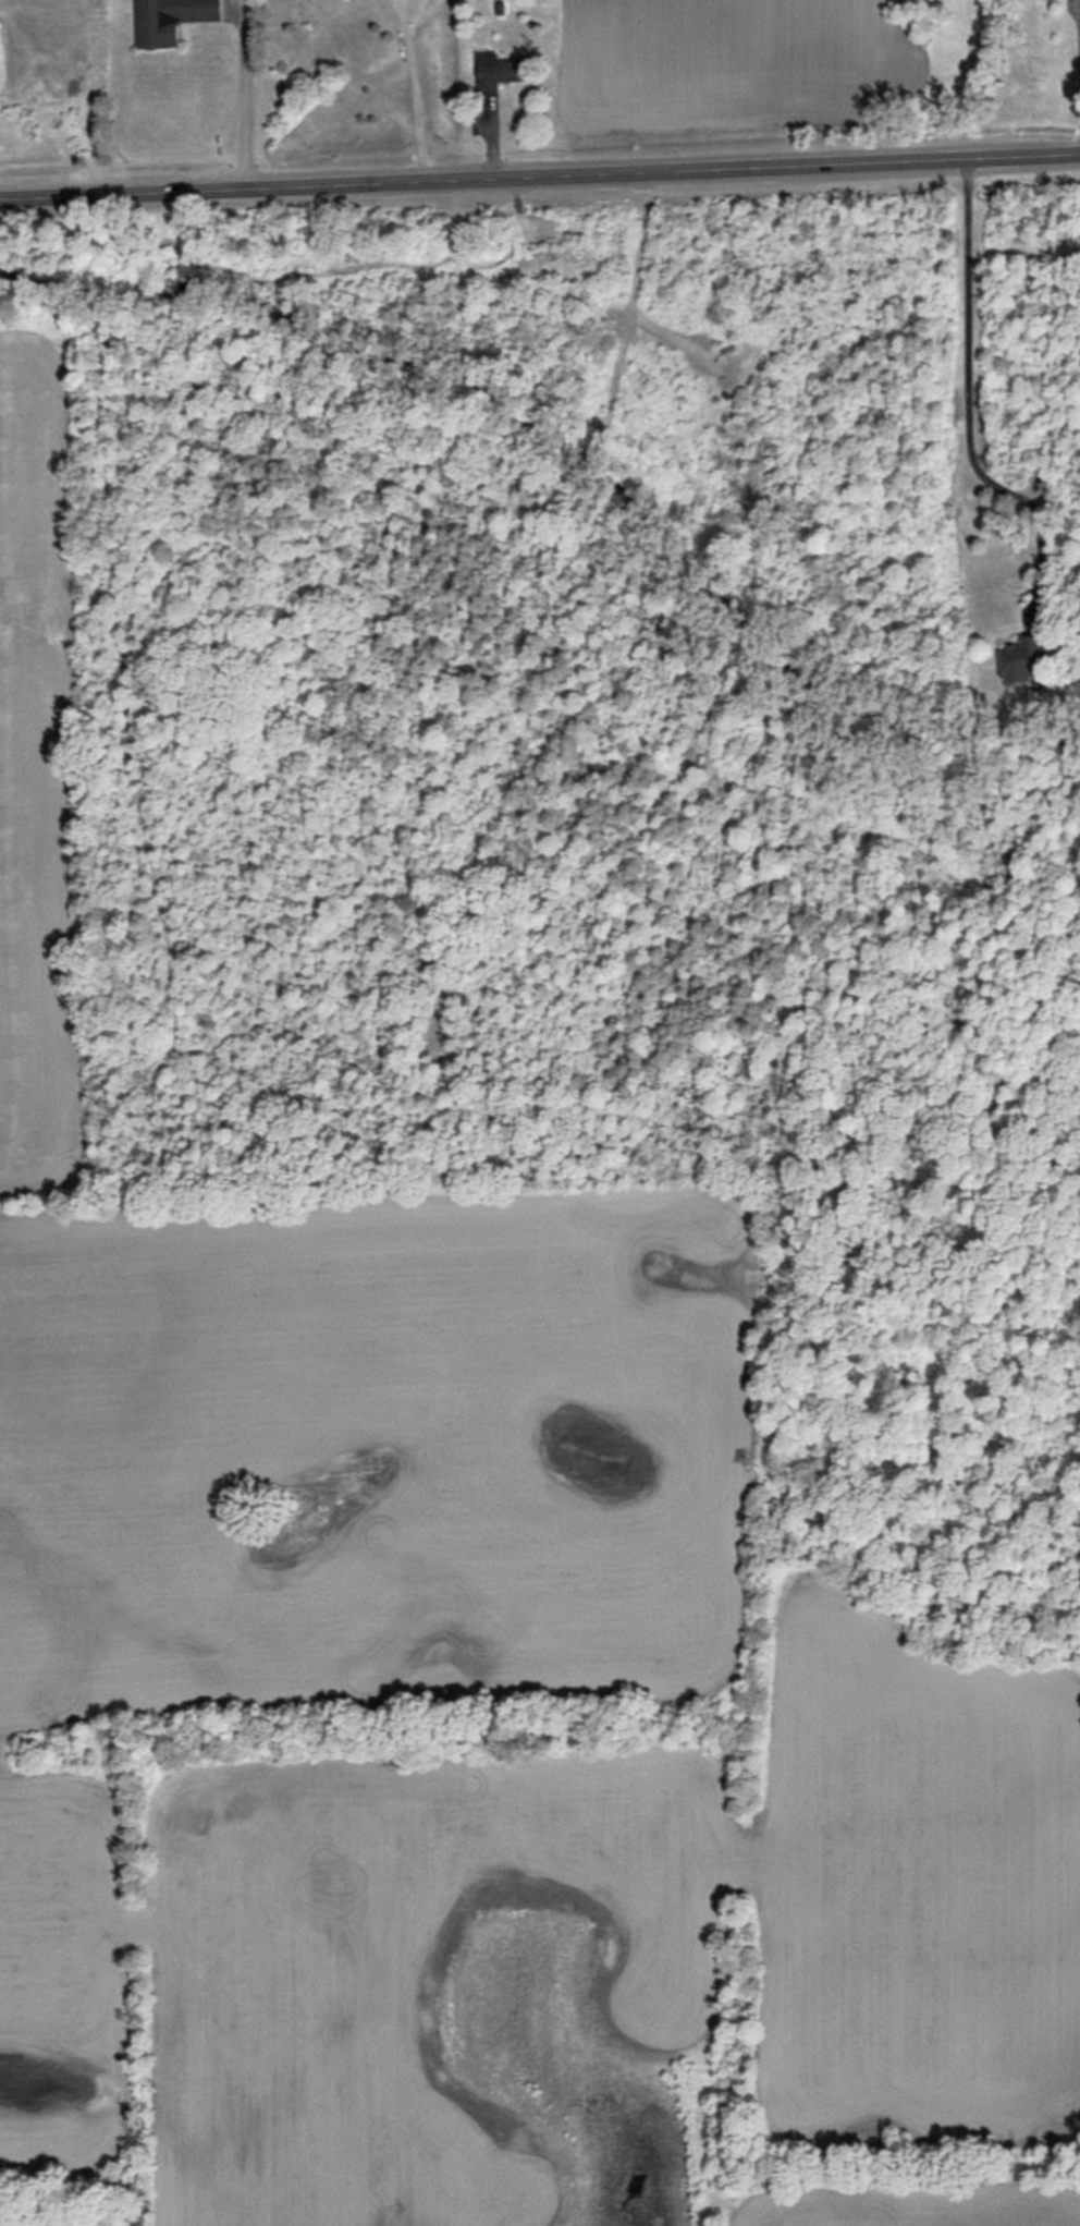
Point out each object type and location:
building: (170, 20)
road: (1077, 61)
building: (500, 70)
road: (414, 88)
road: (242, 93)
road: (539, 173)
road: (965, 384)
building: (1022, 657)

